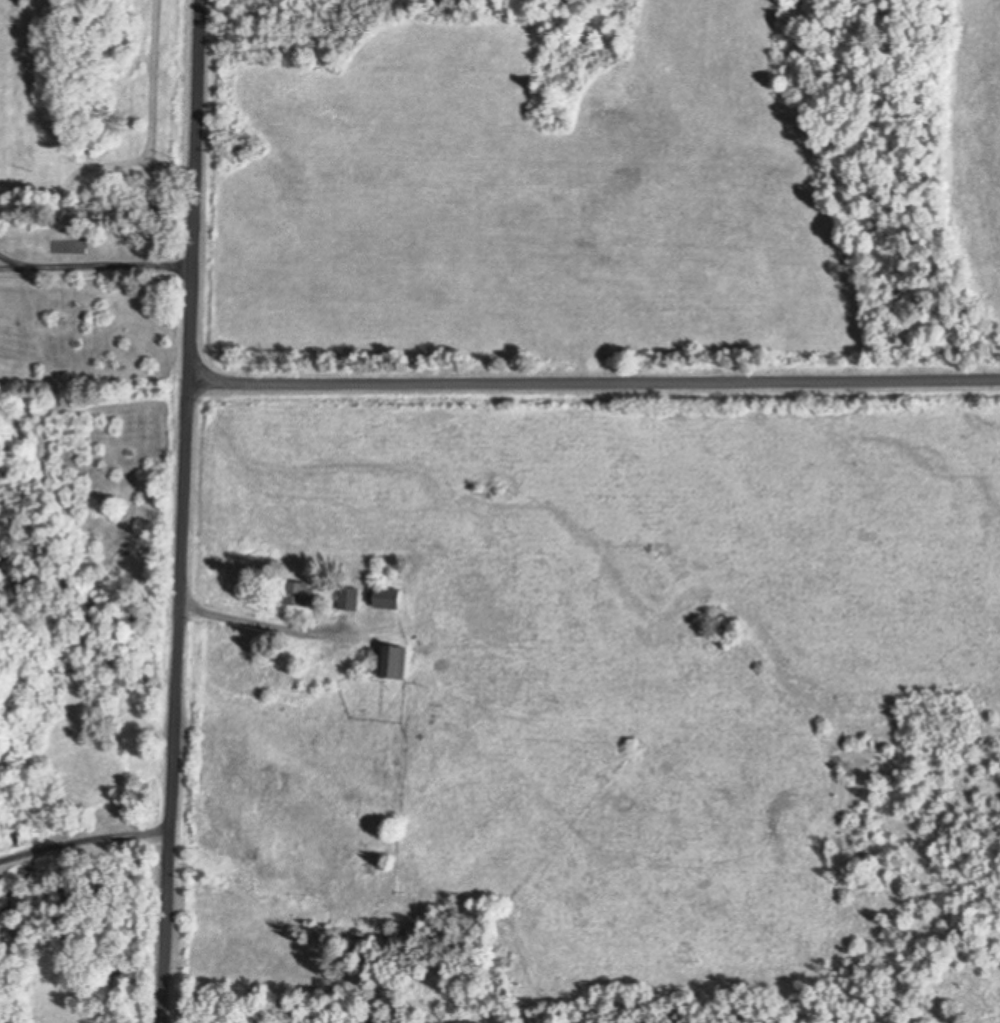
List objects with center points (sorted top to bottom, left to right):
road: (96, 264)
road: (594, 381)
road: (182, 511)
building: (296, 592)
building: (349, 597)
building: (385, 597)
road: (261, 627)
building: (390, 661)
road: (84, 841)
building: (372, 866)

